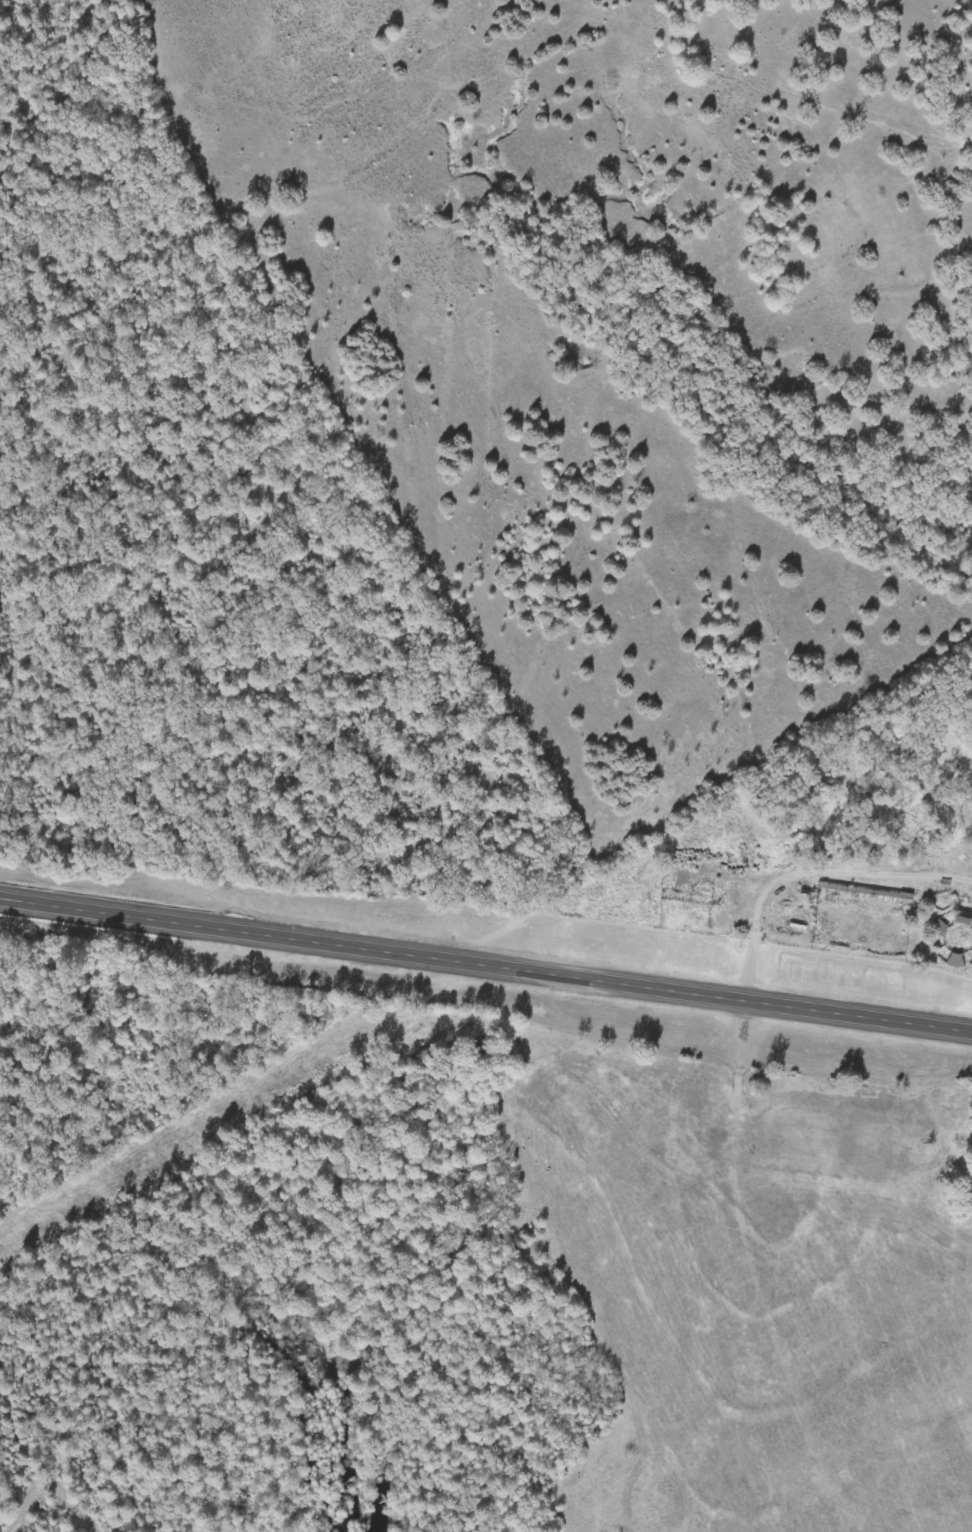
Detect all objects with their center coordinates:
building: (942, 929)
building: (958, 962)
road: (486, 969)

